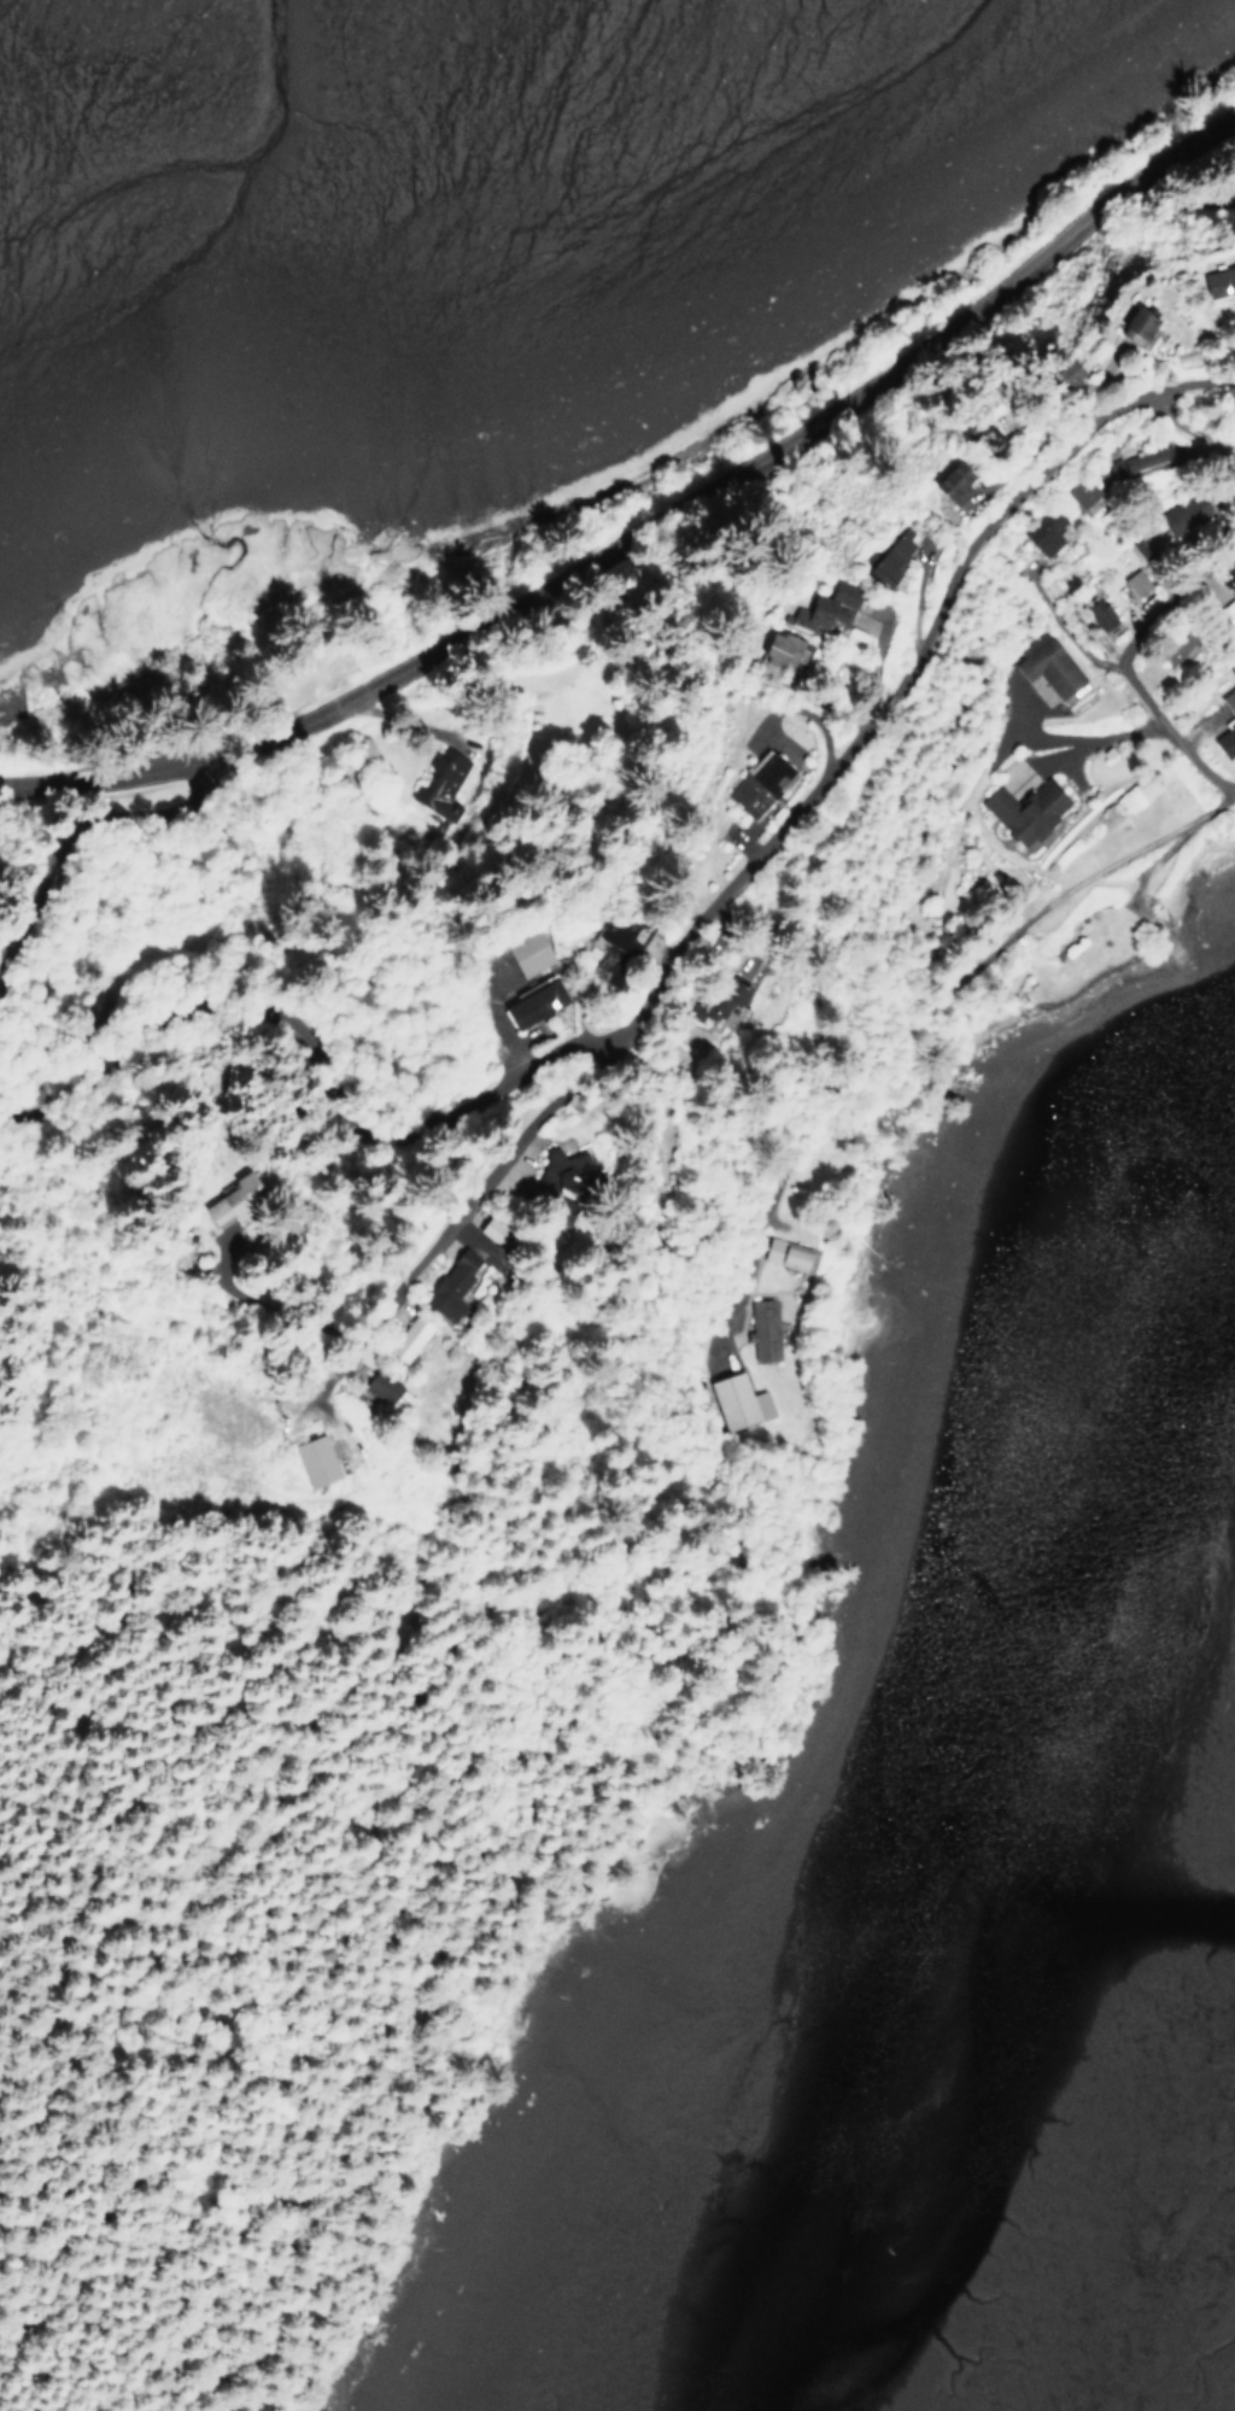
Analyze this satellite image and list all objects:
building: (1216, 280)
building: (1129, 323)
building: (1059, 371)
road: (1187, 429)
building: (1140, 466)
building: (947, 480)
road: (655, 529)
building: (1042, 531)
building: (890, 551)
building: (1134, 581)
building: (823, 608)
building: (1100, 611)
building: (775, 649)
building: (1167, 654)
building: (1046, 665)
road: (1126, 665)
building: (1225, 726)
road: (1078, 737)
building: (445, 772)
building: (754, 784)
building: (1023, 811)
road: (65, 854)
road: (757, 856)
building: (619, 936)
building: (525, 953)
building: (719, 999)
road: (909, 1022)
road: (310, 1063)
building: (562, 1171)
building: (229, 1200)
building: (484, 1224)
building: (783, 1254)
building: (446, 1291)
building: (761, 1329)
building: (408, 1338)
building: (379, 1387)
building: (736, 1401)
building: (312, 1459)
road: (177, 1738)

